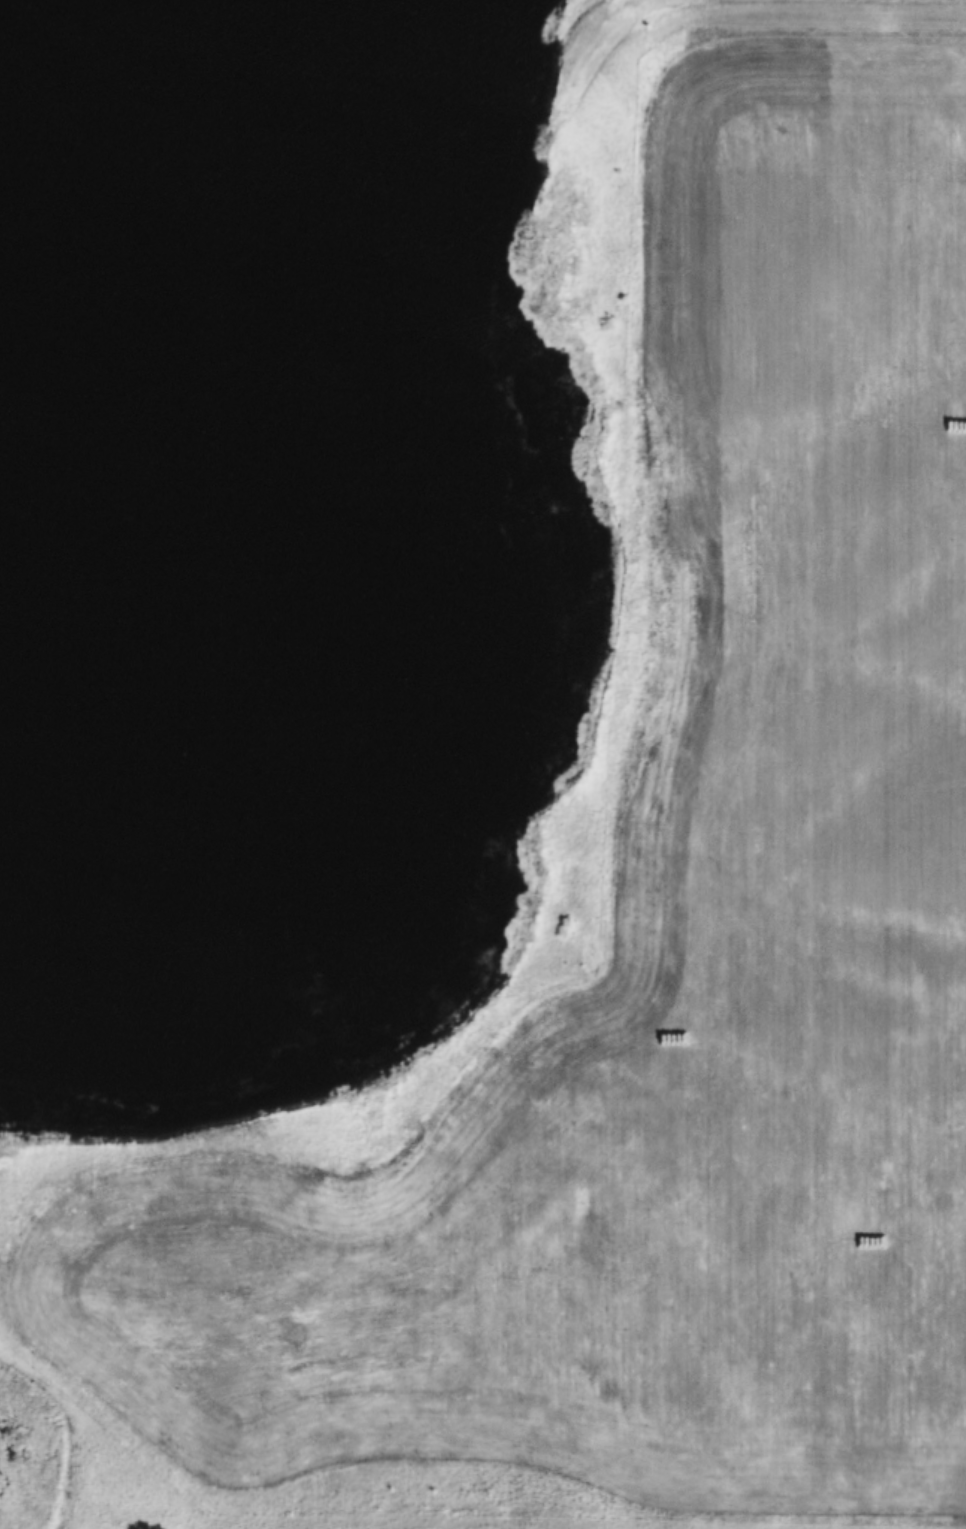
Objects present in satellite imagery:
road: (579, 77)

